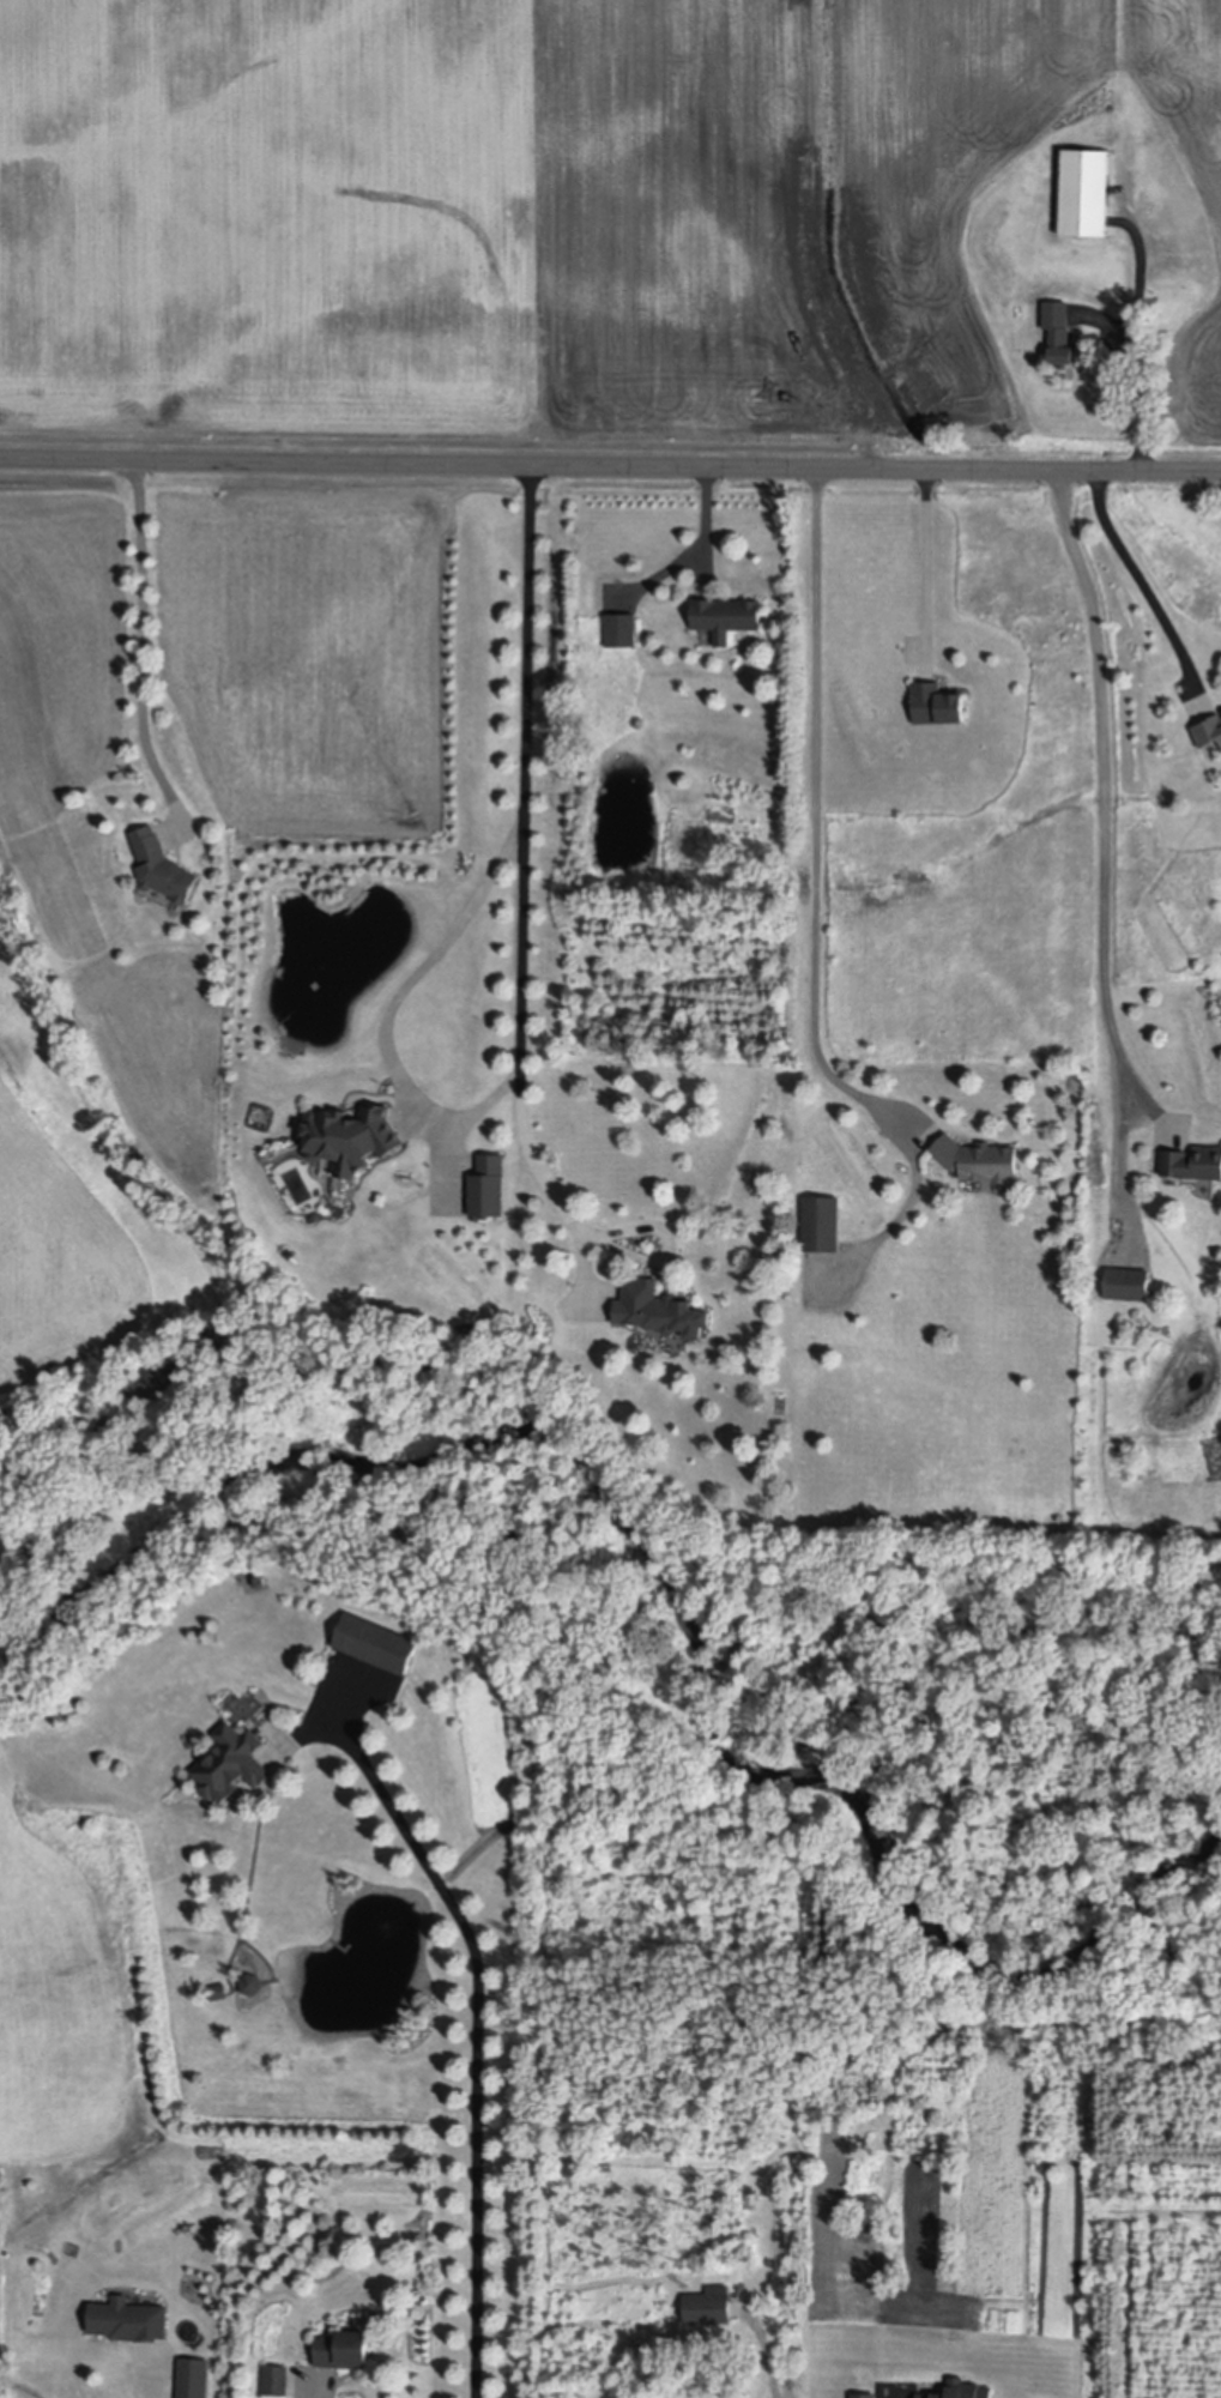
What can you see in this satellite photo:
building: (1084, 191)
building: (1058, 332)
road: (1140, 372)
road: (610, 454)
road: (697, 518)
road: (927, 556)
road: (1140, 575)
building: (726, 617)
building: (622, 629)
road: (141, 647)
building: (937, 703)
building: (639, 723)
building: (1208, 732)
road: (1107, 799)
road: (816, 815)
building: (162, 868)
road: (522, 998)
building: (351, 1138)
building: (978, 1160)
building: (1192, 1165)
building: (488, 1189)
building: (821, 1225)
road: (592, 1231)
building: (1128, 1286)
building: (660, 1312)
building: (261, 1585)
building: (377, 1647)
building: (231, 1766)
building: (252, 1986)
building: (217, 1993)
road: (477, 2035)
building: (736, 2253)
building: (709, 2309)
building: (129, 2323)
building: (343, 2354)
road: (766, 2362)
building: (194, 2379)
building: (276, 2384)
road: (153, 2393)
building: (973, 2393)

